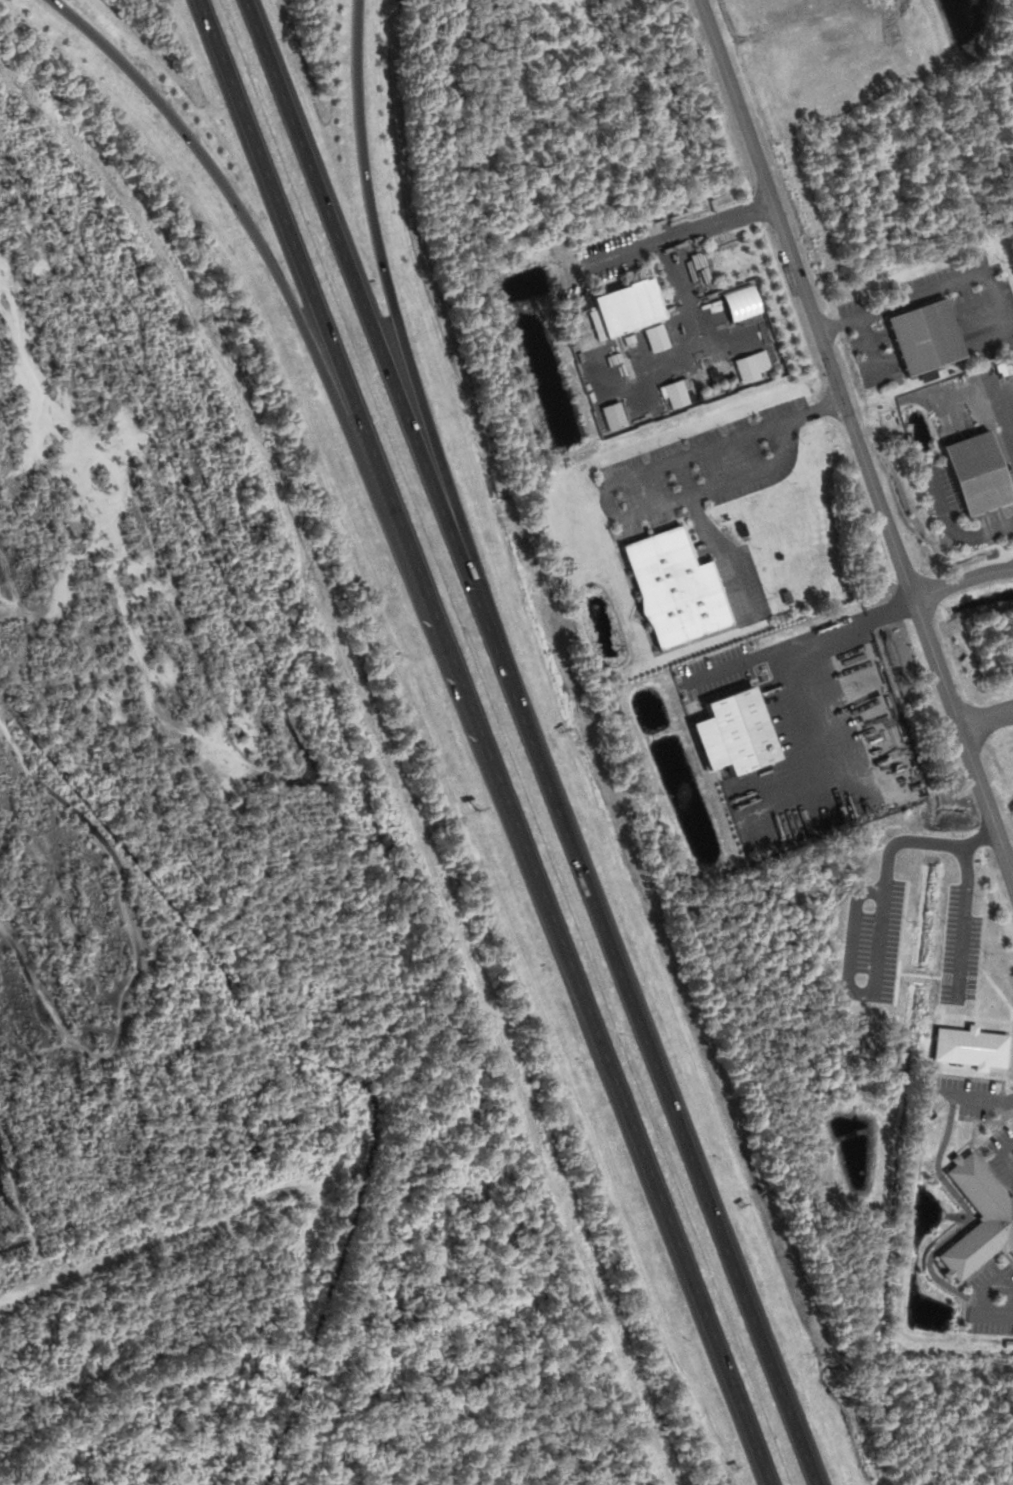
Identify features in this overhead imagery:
road: (678, 230)
road: (677, 264)
road: (946, 286)
road: (972, 302)
building: (626, 310)
road: (298, 317)
building: (923, 339)
road: (870, 346)
road: (407, 360)
road: (858, 438)
building: (975, 475)
road: (612, 482)
road: (711, 542)
road: (962, 578)
building: (673, 590)
road: (484, 742)
road: (530, 742)
road: (886, 864)
road: (962, 921)
road: (851, 940)
building: (969, 1046)
road: (976, 1097)
road: (1004, 1153)
building: (977, 1218)
road: (993, 1314)

